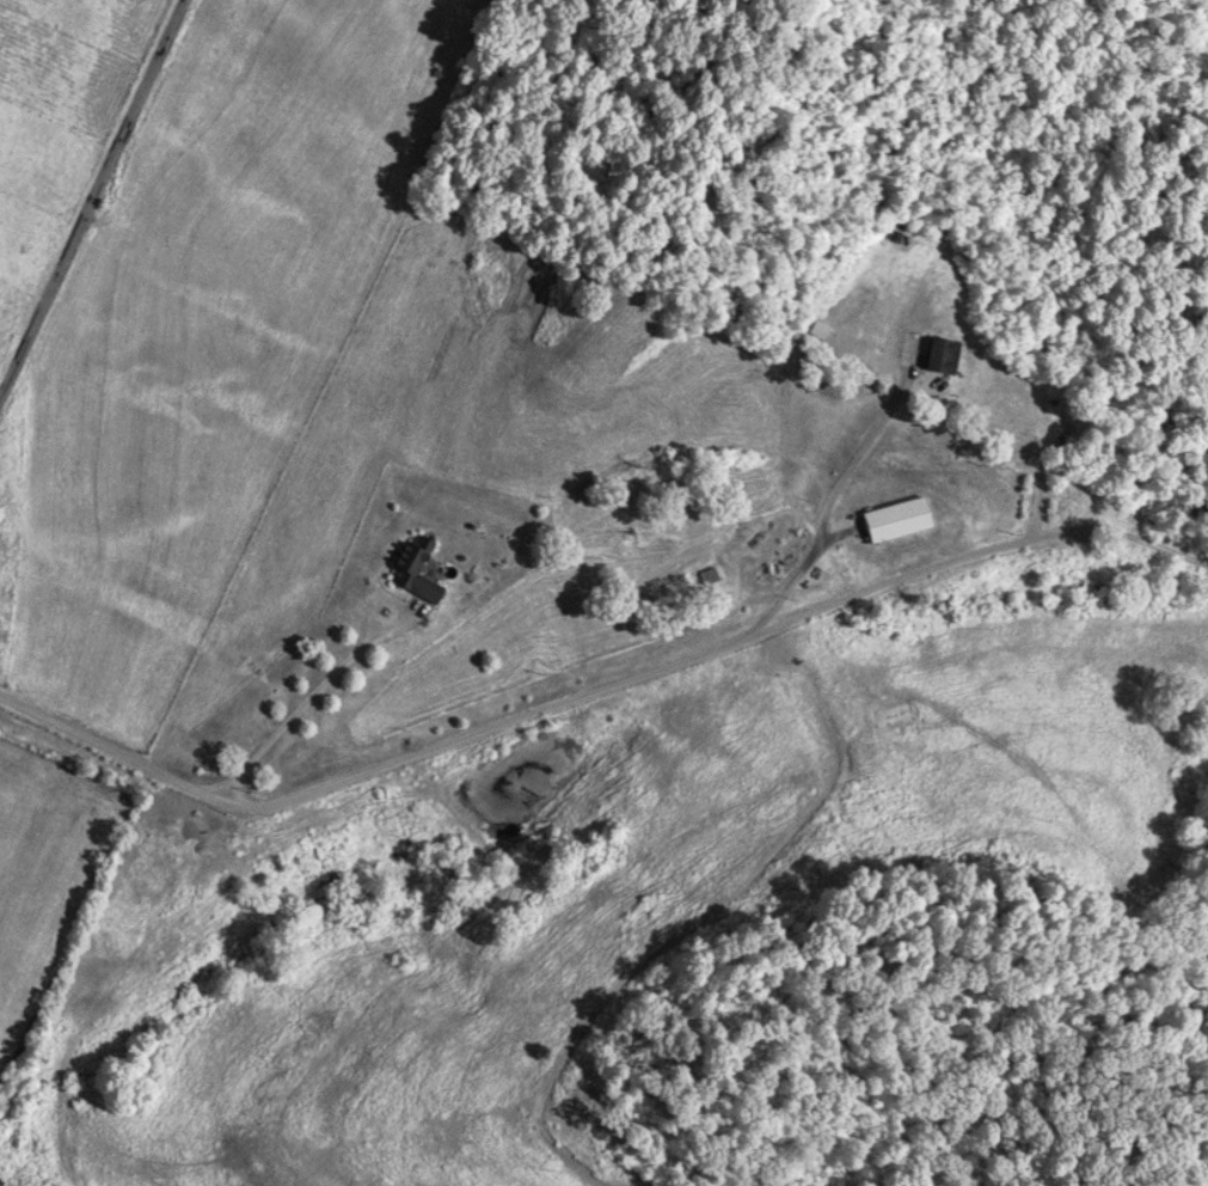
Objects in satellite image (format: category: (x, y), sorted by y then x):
road: (86, 190)
building: (937, 355)
building: (891, 519)
building: (412, 567)
building: (703, 576)
road: (597, 690)

